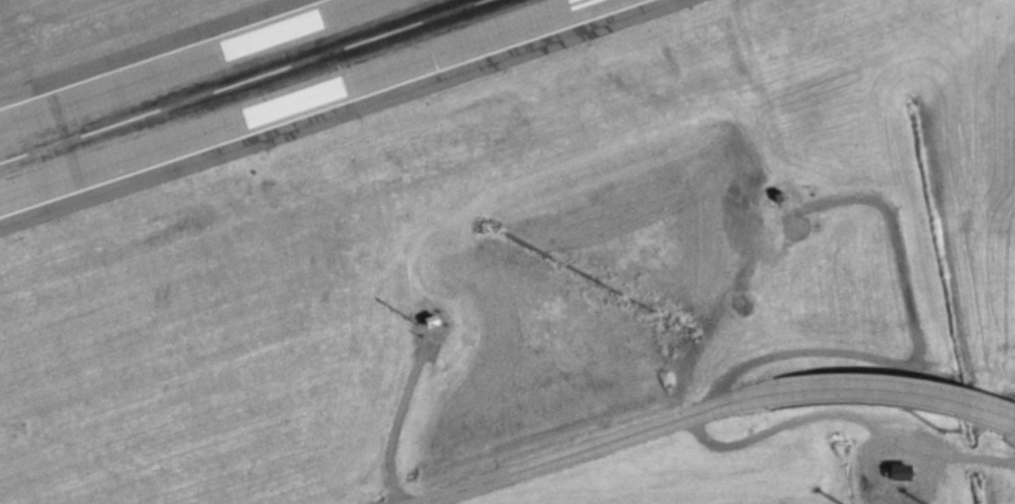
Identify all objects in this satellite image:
airport runway: (241, 80)
building: (776, 195)
airport: (507, 252)
road: (913, 355)
road: (707, 409)
road: (844, 415)
road: (1012, 416)
road: (388, 427)
building: (896, 471)

